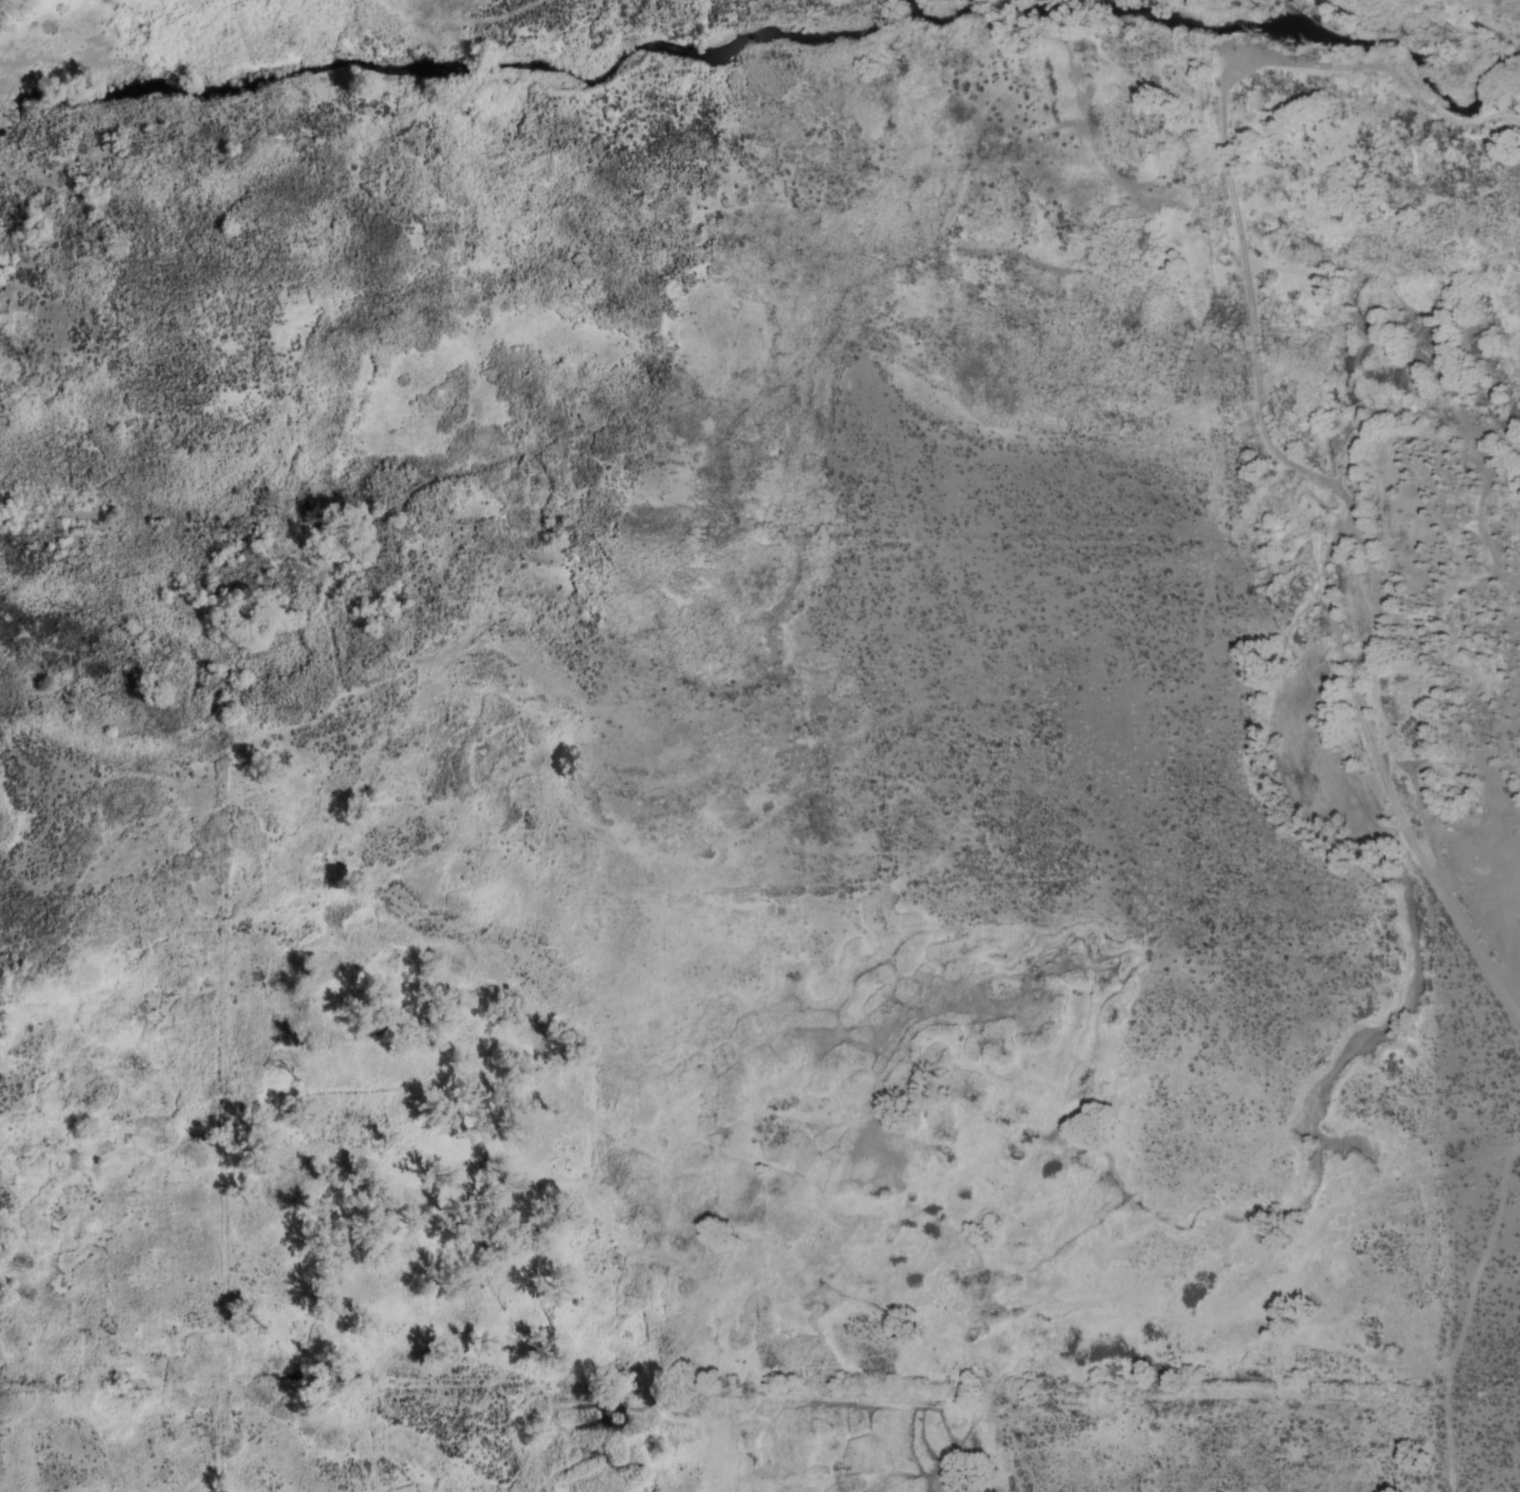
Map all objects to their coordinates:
road: (1352, 492)

